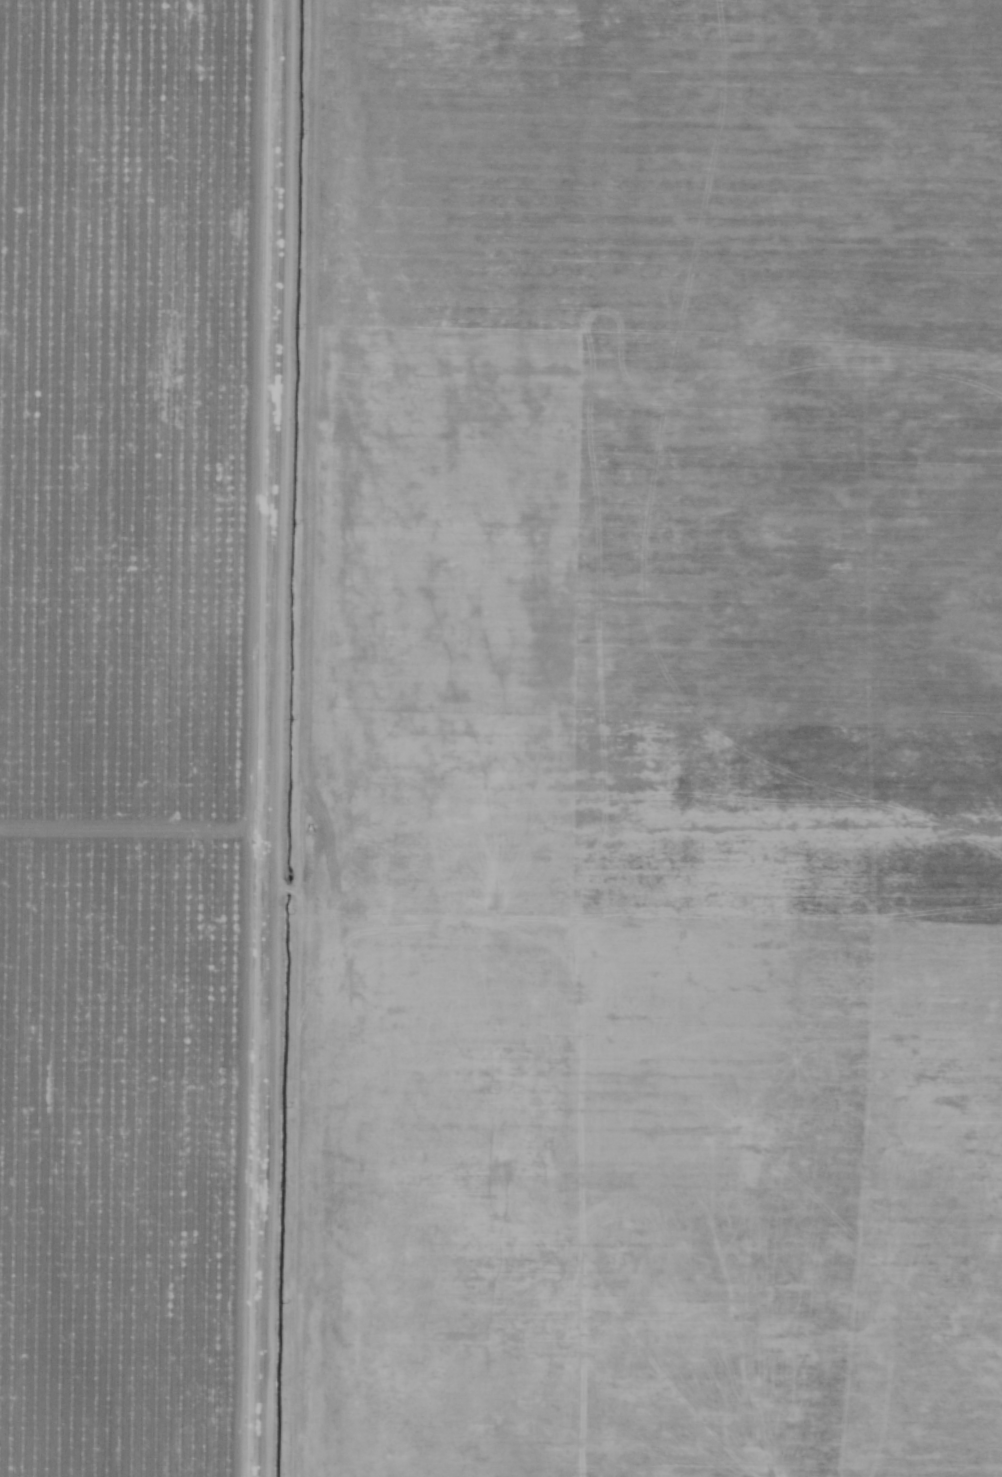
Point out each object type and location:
crop: (158, 736)
road: (323, 738)

